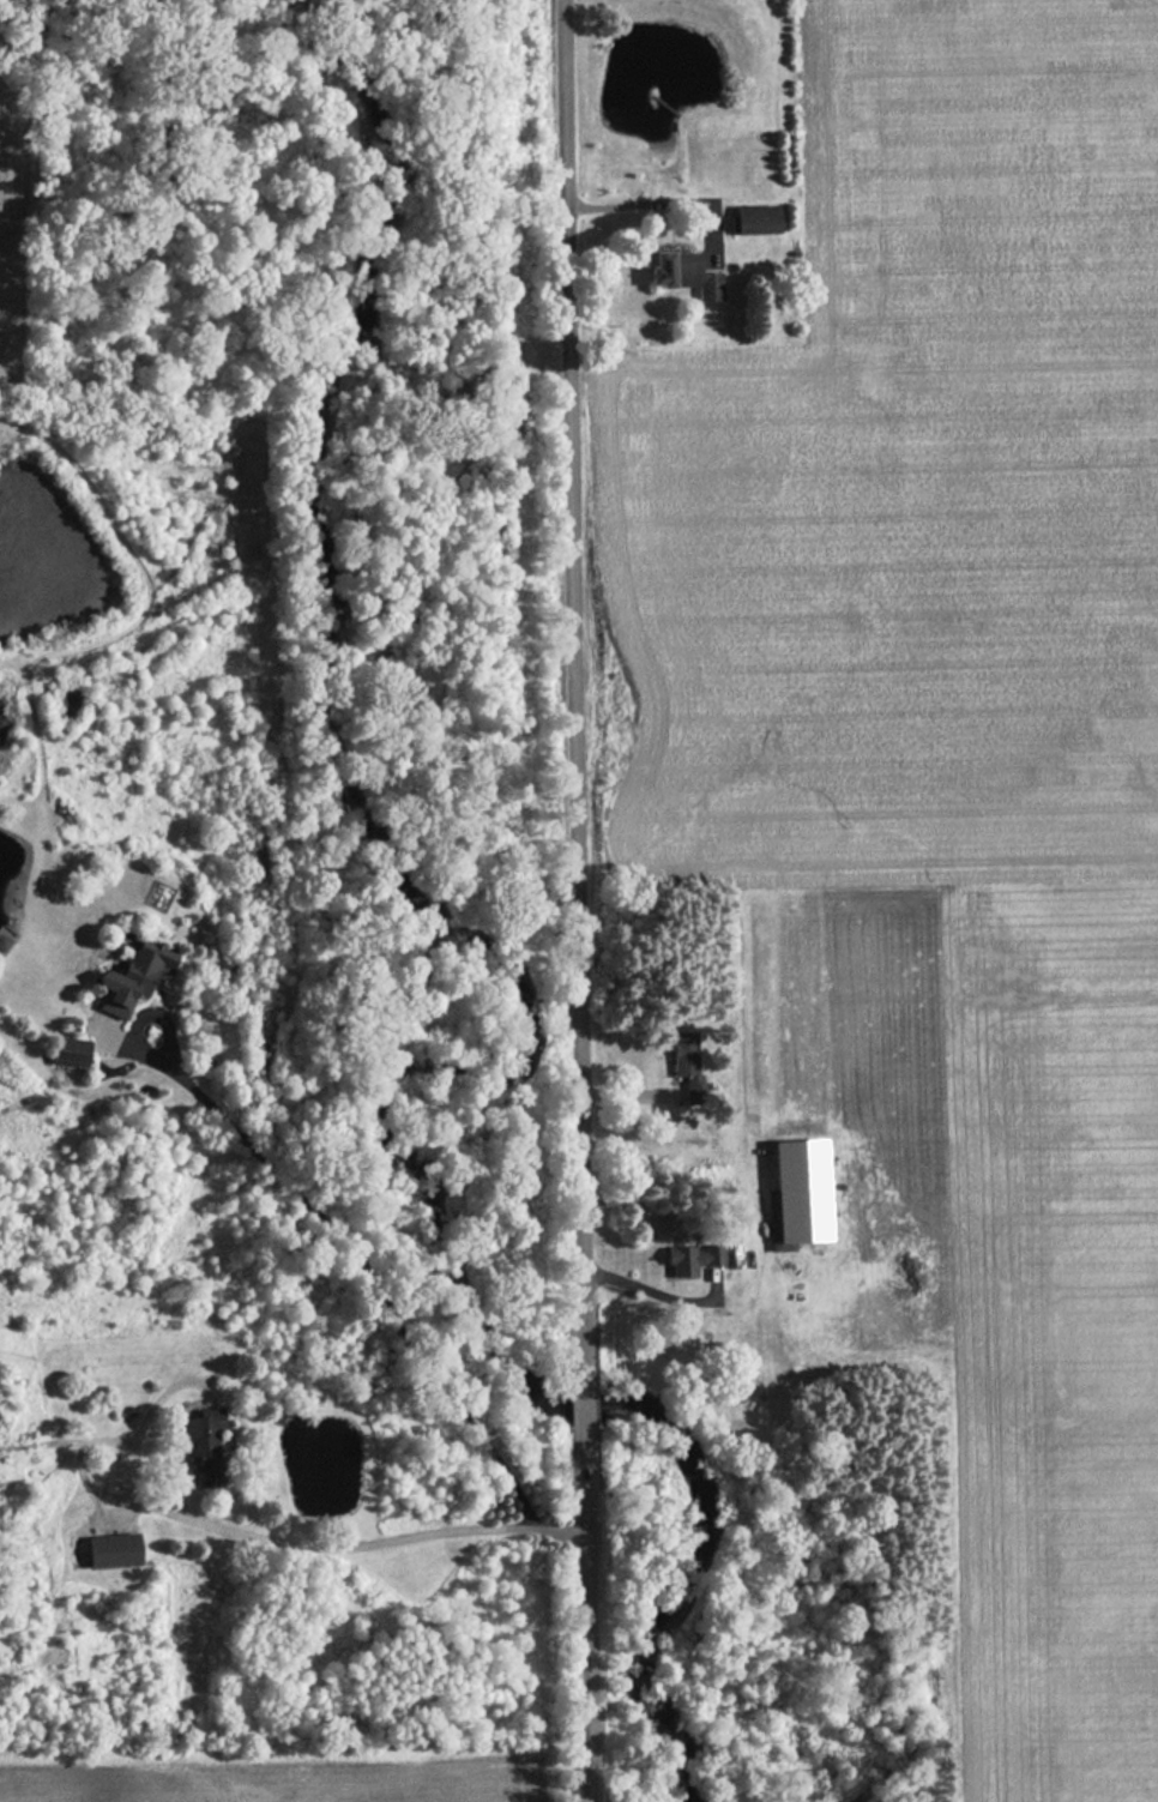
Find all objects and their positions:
road: (658, 200)
building: (750, 219)
building: (680, 275)
road: (578, 692)
crop: (943, 777)
building: (1, 942)
building: (128, 977)
building: (65, 1051)
building: (681, 1060)
building: (795, 1192)
building: (688, 1259)
road: (649, 1290)
road: (586, 1409)
road: (283, 1542)
building: (107, 1551)
road: (592, 1617)

